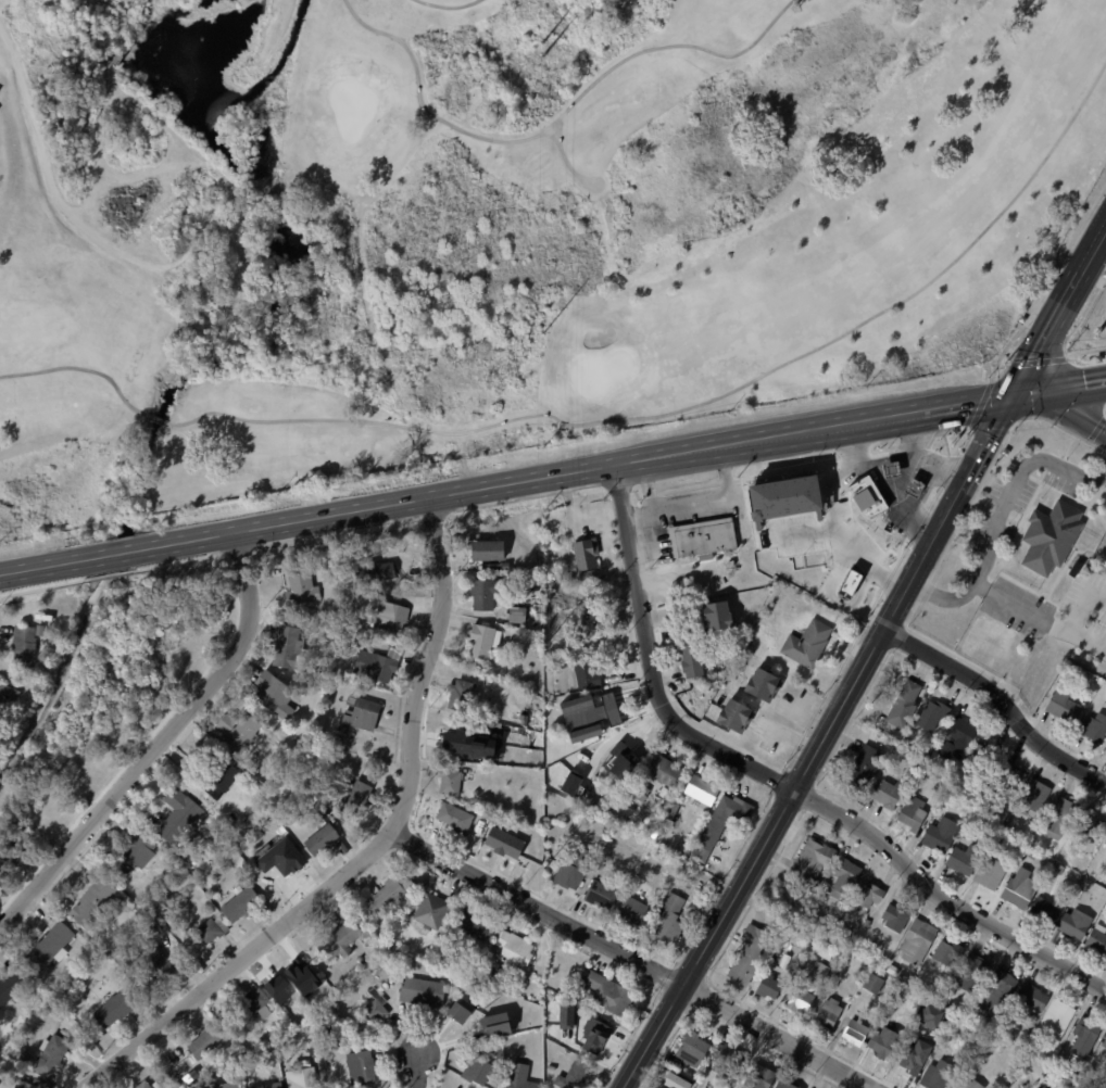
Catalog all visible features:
road: (448, 7)
power tower: (540, 42)
power tower: (540, 58)
building: (0, 92)
road: (554, 121)
road: (577, 175)
road: (46, 177)
park: (502, 231)
road: (1095, 253)
road: (1051, 332)
power tower: (542, 349)
road: (79, 368)
park: (596, 369)
road: (1061, 388)
traffic signals: (1017, 395)
road: (703, 403)
road: (973, 403)
road: (158, 418)
road: (1060, 418)
road: (849, 439)
road: (984, 450)
road: (910, 456)
building: (897, 468)
building: (857, 470)
road: (939, 472)
road: (1013, 482)
building: (920, 486)
gas station: (897, 488)
building: (913, 488)
road: (464, 491)
road: (893, 495)
building: (784, 498)
building: (877, 502)
road: (840, 531)
building: (658, 532)
building: (1048, 536)
building: (707, 537)
building: (492, 549)
building: (587, 554)
building: (501, 566)
building: (1074, 569)
building: (736, 571)
building: (375, 572)
building: (589, 574)
building: (571, 578)
road: (2, 582)
building: (851, 582)
building: (303, 583)
building: (490, 593)
road: (940, 594)
building: (516, 597)
building: (542, 597)
building: (520, 615)
road: (1040, 615)
building: (725, 616)
building: (393, 619)
building: (766, 622)
building: (41, 630)
building: (486, 641)
building: (51, 643)
building: (810, 644)
building: (26, 645)
power tower: (543, 646)
building: (291, 648)
building: (694, 660)
building: (381, 661)
road: (653, 665)
building: (586, 673)
building: (321, 675)
building: (764, 684)
building: (10, 693)
building: (277, 694)
building: (464, 695)
road: (998, 699)
building: (1061, 704)
building: (903, 705)
park: (108, 710)
building: (613, 710)
building: (365, 714)
building: (737, 716)
building: (930, 716)
building: (1094, 729)
building: (345, 730)
building: (566, 730)
building: (241, 731)
road: (160, 738)
building: (456, 739)
building: (955, 739)
building: (903, 742)
building: (628, 750)
building: (621, 761)
building: (985, 762)
building: (917, 763)
building: (860, 767)
building: (669, 772)
building: (1011, 775)
building: (952, 776)
building: (224, 780)
building: (453, 782)
building: (569, 783)
building: (932, 786)
building: (705, 792)
building: (1025, 792)
building: (888, 794)
building: (946, 794)
building: (318, 796)
road: (791, 796)
building: (361, 798)
building: (658, 799)
building: (912, 813)
building: (994, 814)
building: (179, 815)
building: (1009, 815)
building: (1058, 815)
building: (456, 817)
building: (234, 818)
building: (485, 822)
building: (1092, 823)
building: (982, 824)
building: (722, 825)
power tower: (544, 831)
building: (939, 835)
building: (324, 839)
building: (1105, 840)
building: (1105, 842)
building: (503, 843)
building: (1009, 843)
building: (344, 847)
road: (373, 849)
building: (1030, 853)
building: (134, 855)
building: (9, 859)
building: (963, 859)
building: (809, 861)
building: (1095, 861)
building: (292, 862)
building: (1056, 869)
building: (575, 871)
building: (989, 874)
building: (843, 876)
building: (824, 886)
building: (1017, 888)
building: (1078, 890)
building: (603, 894)
building: (866, 895)
building: (395, 896)
road: (942, 900)
building: (97, 902)
building: (243, 904)
building: (1045, 909)
building: (634, 910)
building: (433, 911)
building: (893, 918)
building: (673, 920)
building: (866, 923)
building: (1073, 924)
building: (477, 925)
building: (214, 929)
building: (789, 932)
building: (141, 936)
building: (1097, 938)
building: (342, 941)
building: (915, 945)
building: (50, 948)
building: (837, 949)
building: (822, 950)
building: (514, 951)
building: (746, 953)
building: (944, 953)
road: (638, 956)
building: (772, 958)
building: (156, 963)
building: (891, 970)
building: (294, 971)
building: (971, 973)
building: (121, 983)
building: (874, 985)
building: (12, 986)
building: (766, 987)
building: (424, 991)
building: (607, 991)
building: (995, 994)
building: (1031, 996)
building: (799, 998)
building: (253, 1004)
building: (117, 1009)
building: (377, 1009)
building: (827, 1014)
building: (930, 1014)
building: (973, 1014)
building: (464, 1019)
building: (1053, 1022)
building: (495, 1024)
building: (558, 1032)
building: (854, 1032)
building: (1084, 1032)
building: (598, 1034)
building: (210, 1042)
building: (1104, 1042)
building: (517, 1047)
building: (882, 1047)
building: (996, 1048)
building: (1028, 1049)
building: (689, 1052)
building: (54, 1055)
building: (1044, 1058)
building: (26, 1059)
building: (256, 1059)
building: (726, 1060)
building: (909, 1063)
building: (363, 1067)
building: (1105, 1067)
building: (551, 1068)
building: (480, 1070)
road: (424, 1072)
building: (934, 1075)
building: (0, 1076)
building: (575, 1076)
building: (523, 1077)
building: (756, 1077)
building: (303, 1078)
building: (676, 1081)
building: (36, 1084)
building: (782, 1084)
building: (968, 1084)
building: (144, 1085)
building: (230, 1086)
building: (272, 1086)

